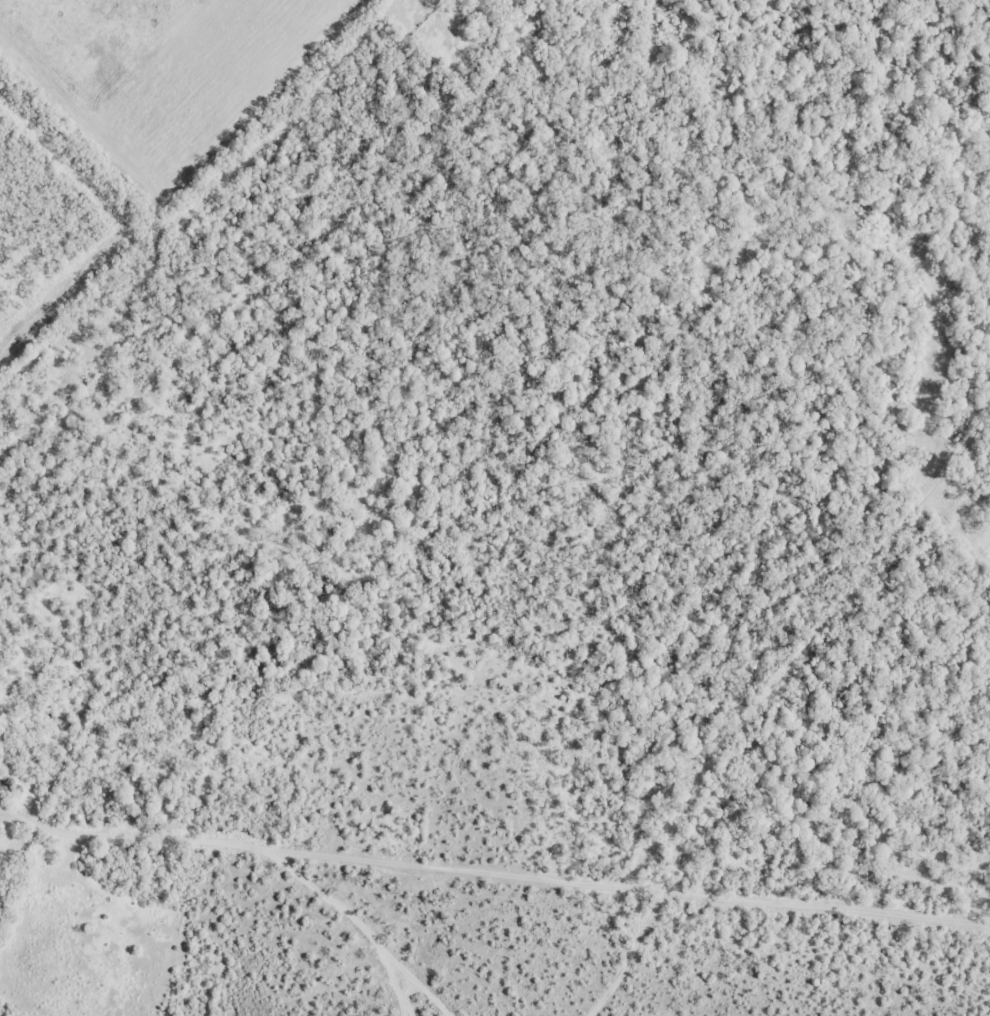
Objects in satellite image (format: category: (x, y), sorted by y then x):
building: (0, 723)
road: (225, 860)
road: (787, 951)

